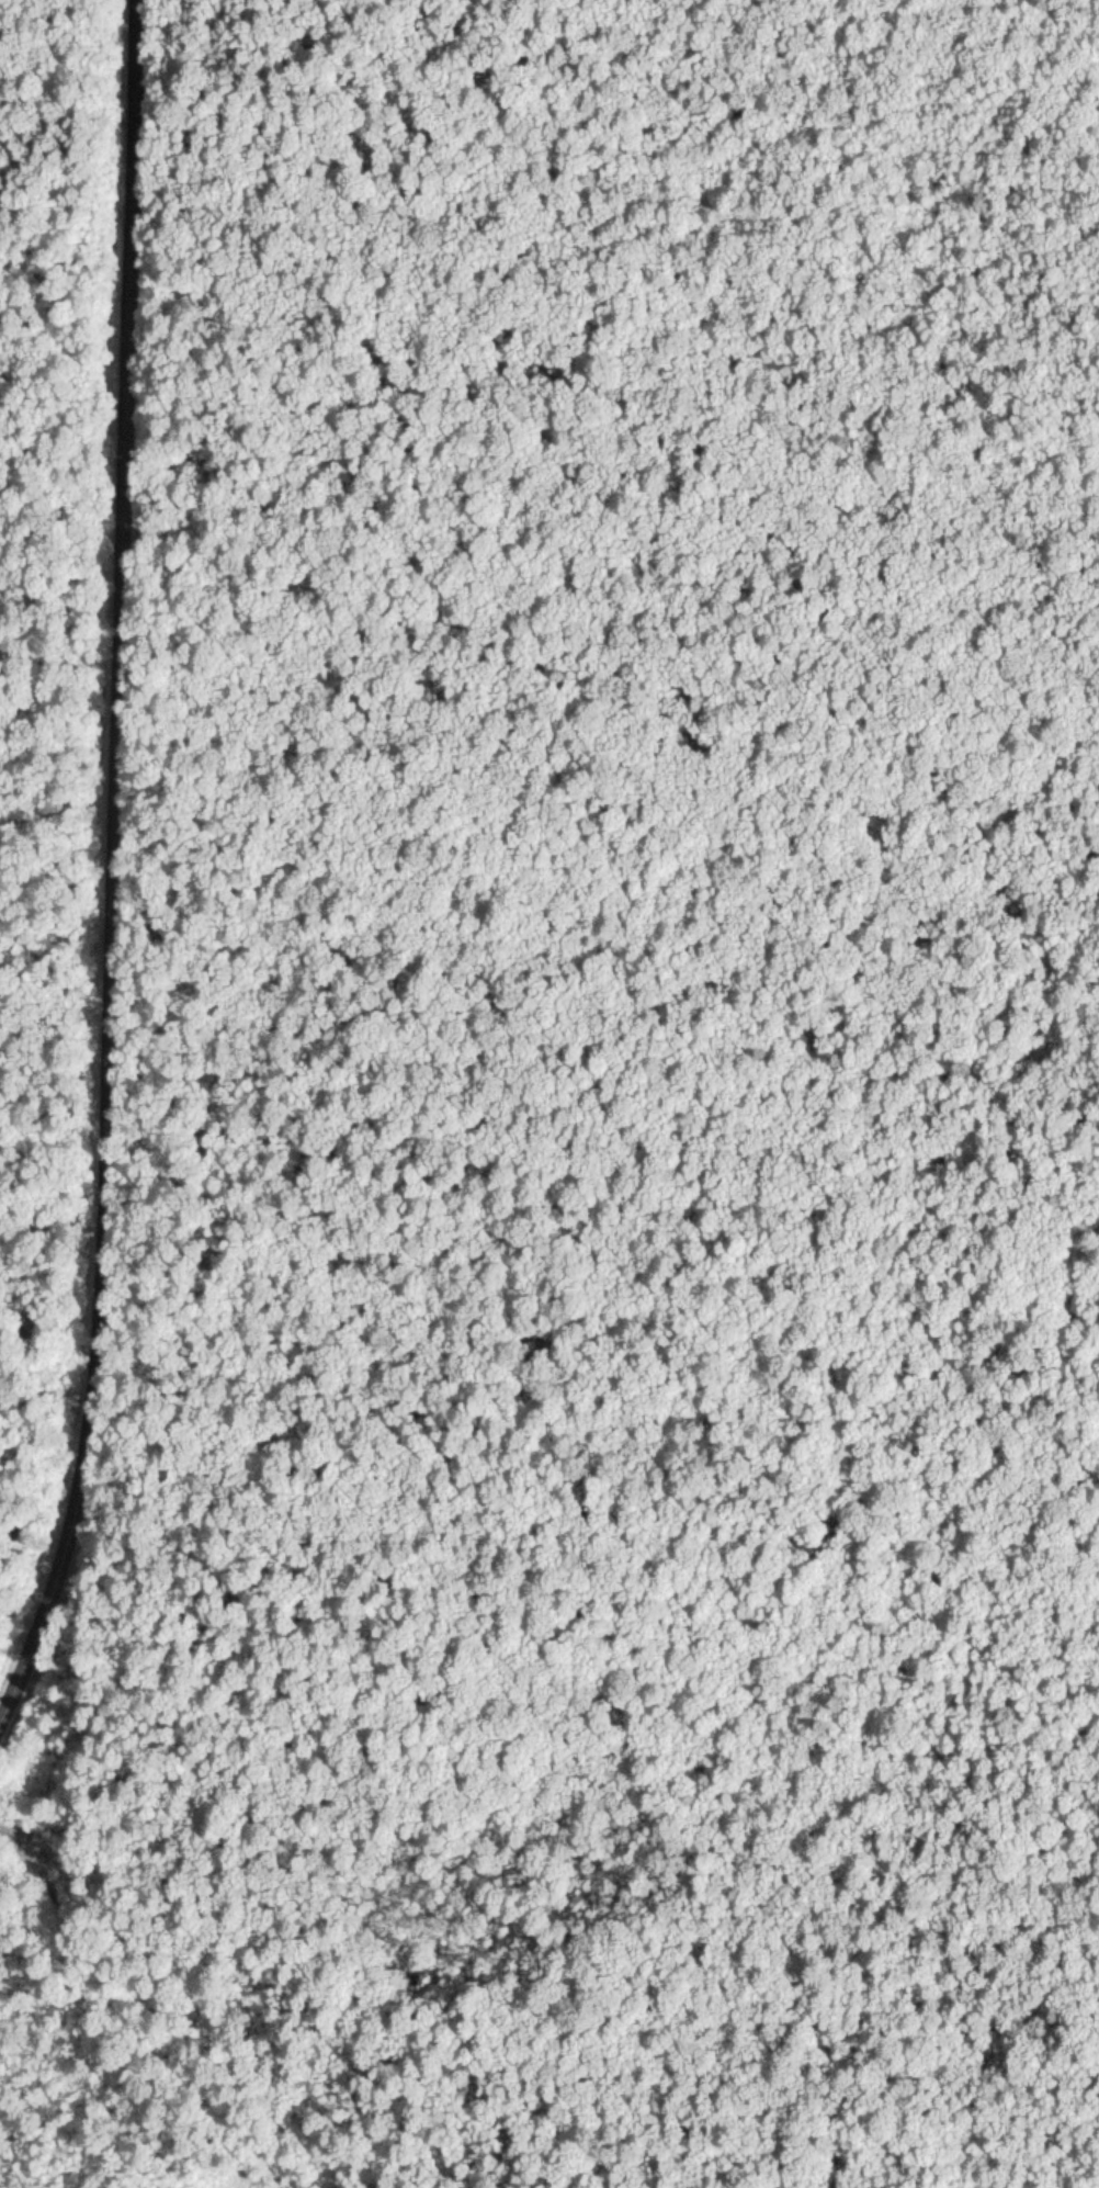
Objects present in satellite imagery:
road: (105, 800)
road: (26, 1659)
road: (79, 1914)
road: (257, 2177)

